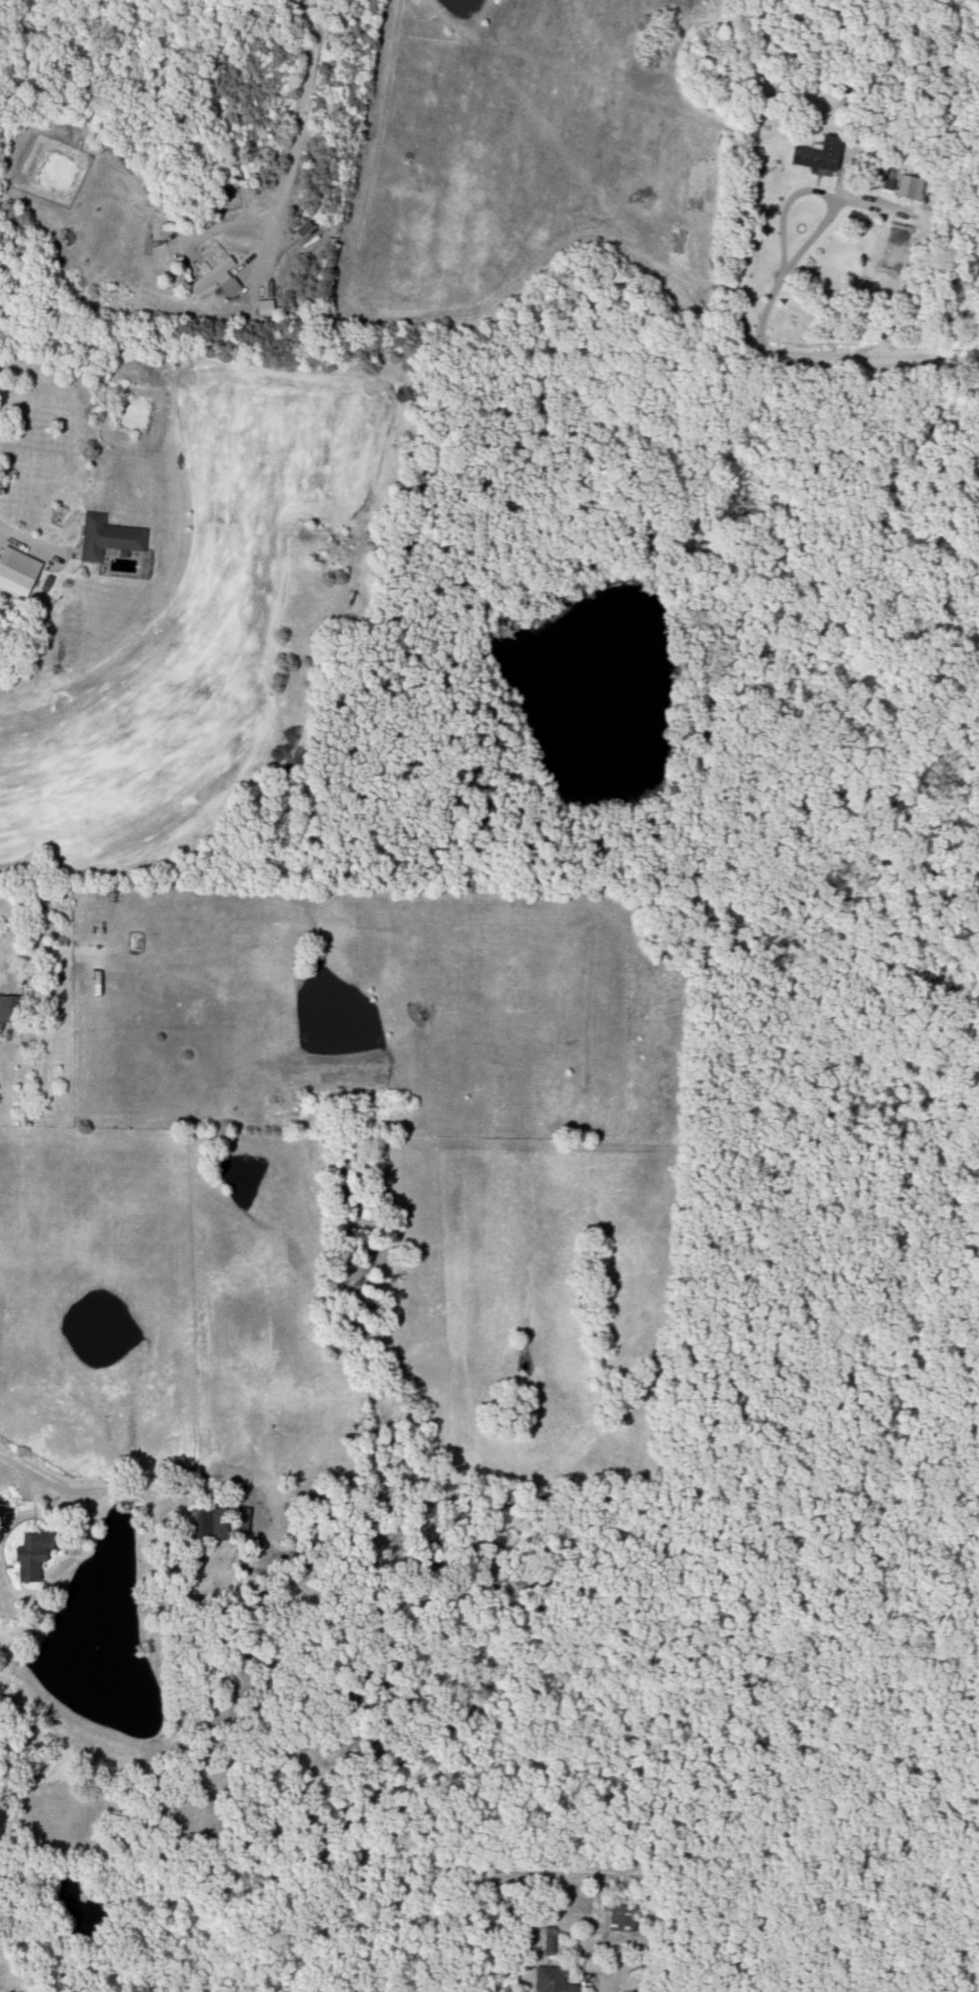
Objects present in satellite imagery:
road: (298, 133)
building: (820, 156)
building: (909, 188)
road: (815, 225)
building: (211, 276)
building: (146, 303)
road: (873, 359)
building: (108, 538)
road: (29, 545)
building: (18, 569)
building: (11, 1009)
road: (22, 1469)
building: (241, 1522)
building: (209, 1526)
building: (33, 1557)
building: (622, 1919)
building: (553, 1981)

